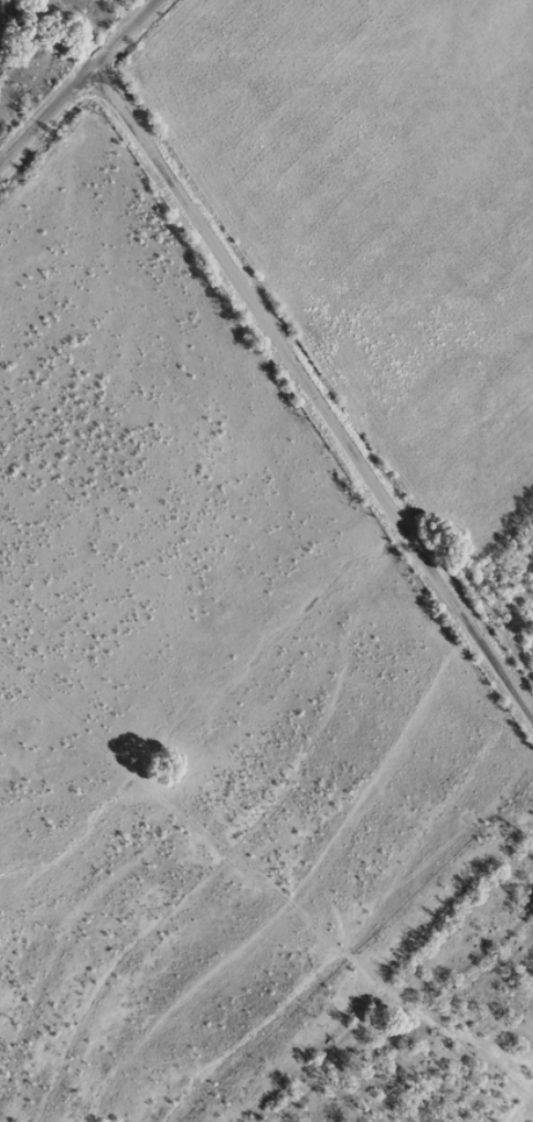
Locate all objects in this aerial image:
road: (108, 46)
road: (38, 121)
road: (310, 439)
road: (385, 1000)

